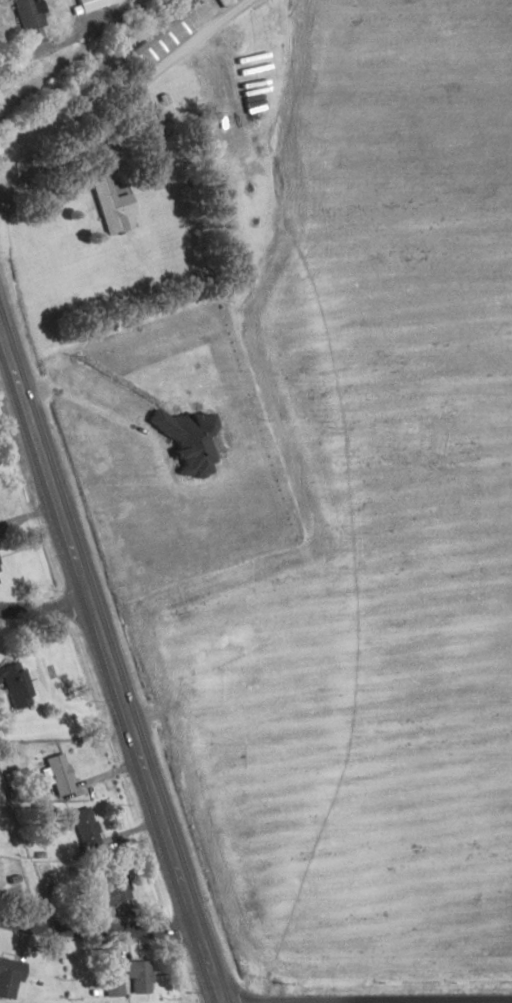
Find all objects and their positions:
building: (220, 2)
building: (90, 4)
building: (26, 13)
road: (68, 37)
building: (154, 42)
road: (122, 95)
building: (110, 207)
road: (41, 604)
road: (107, 673)
building: (14, 684)
building: (57, 773)
building: (83, 827)
building: (110, 888)
road: (94, 931)
road: (350, 931)
building: (8, 976)
building: (135, 976)

